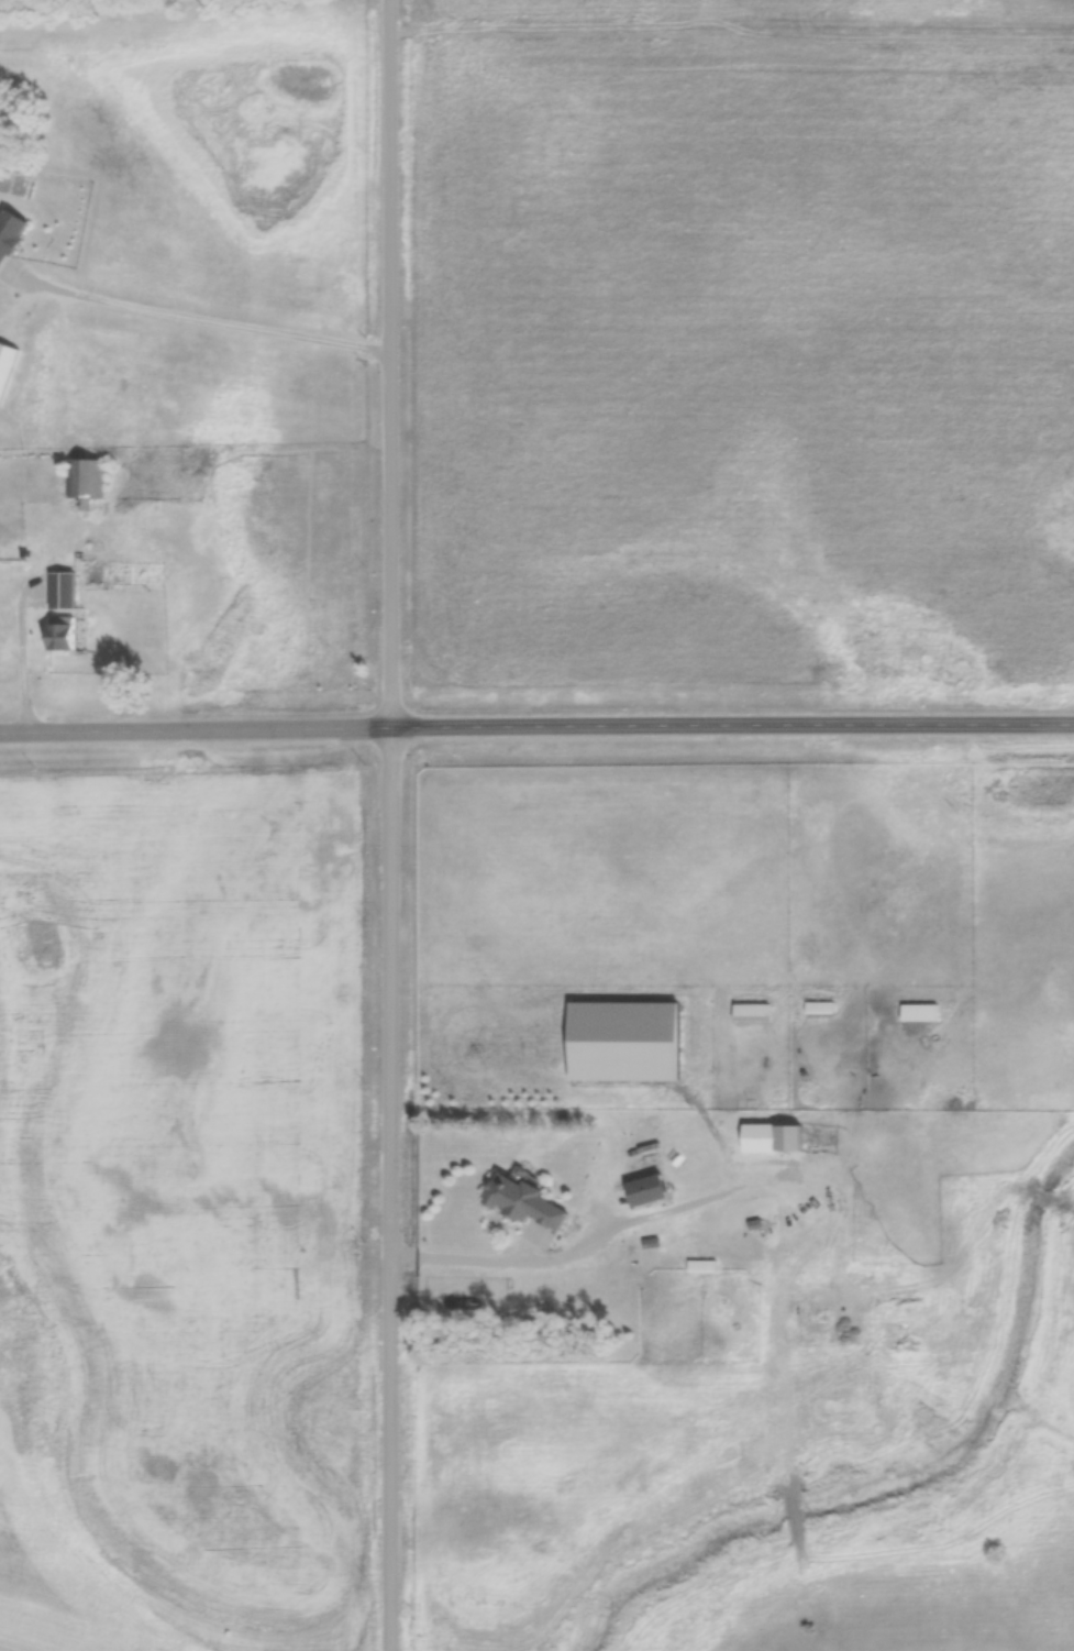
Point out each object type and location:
road: (734, 29)
building: (10, 235)
road: (219, 321)
building: (86, 481)
building: (93, 577)
building: (63, 635)
road: (19, 651)
road: (732, 726)
road: (195, 730)
road: (391, 825)
building: (820, 1008)
building: (752, 1012)
building: (920, 1012)
building: (773, 1137)
building: (649, 1190)
road: (499, 1255)
building: (702, 1267)

